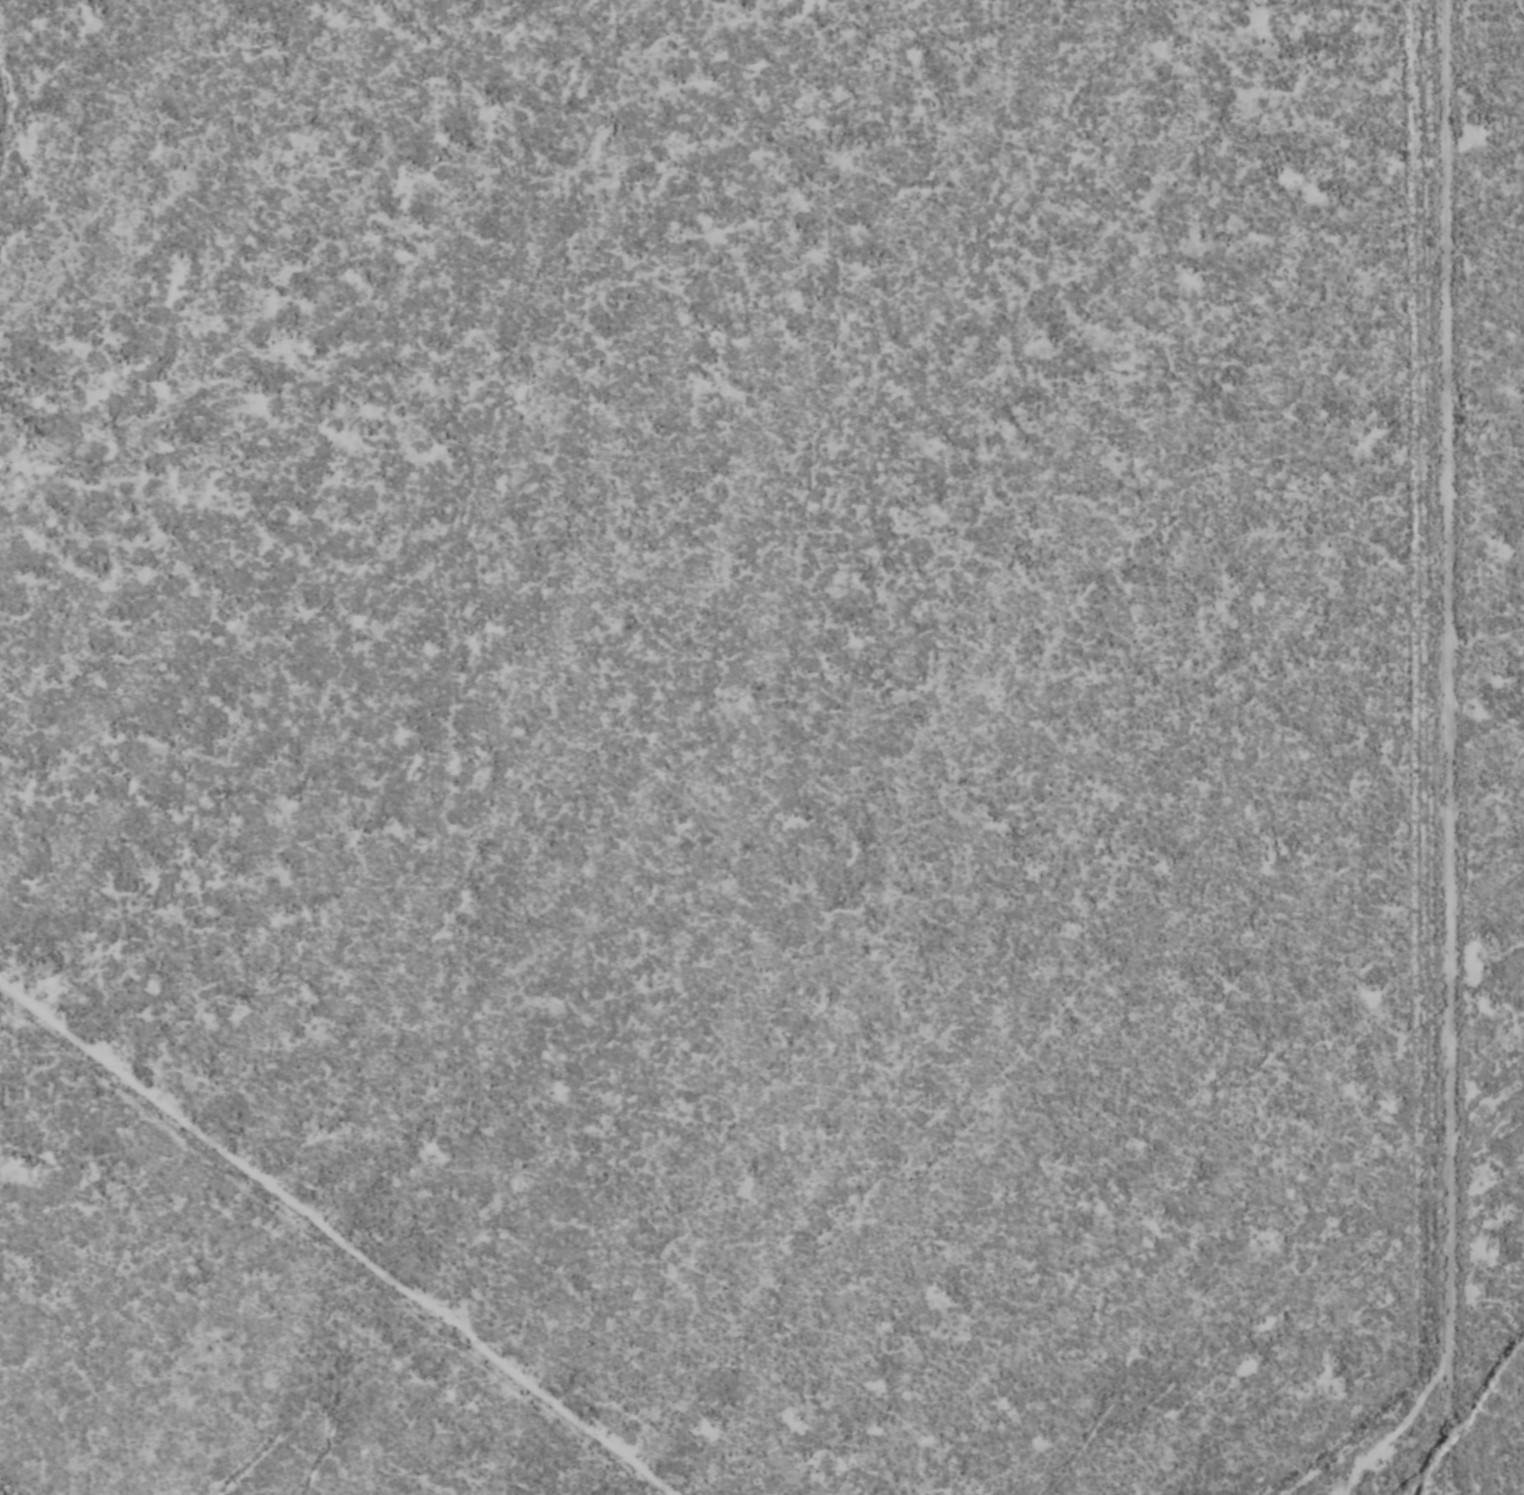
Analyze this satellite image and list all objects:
road: (1448, 799)

